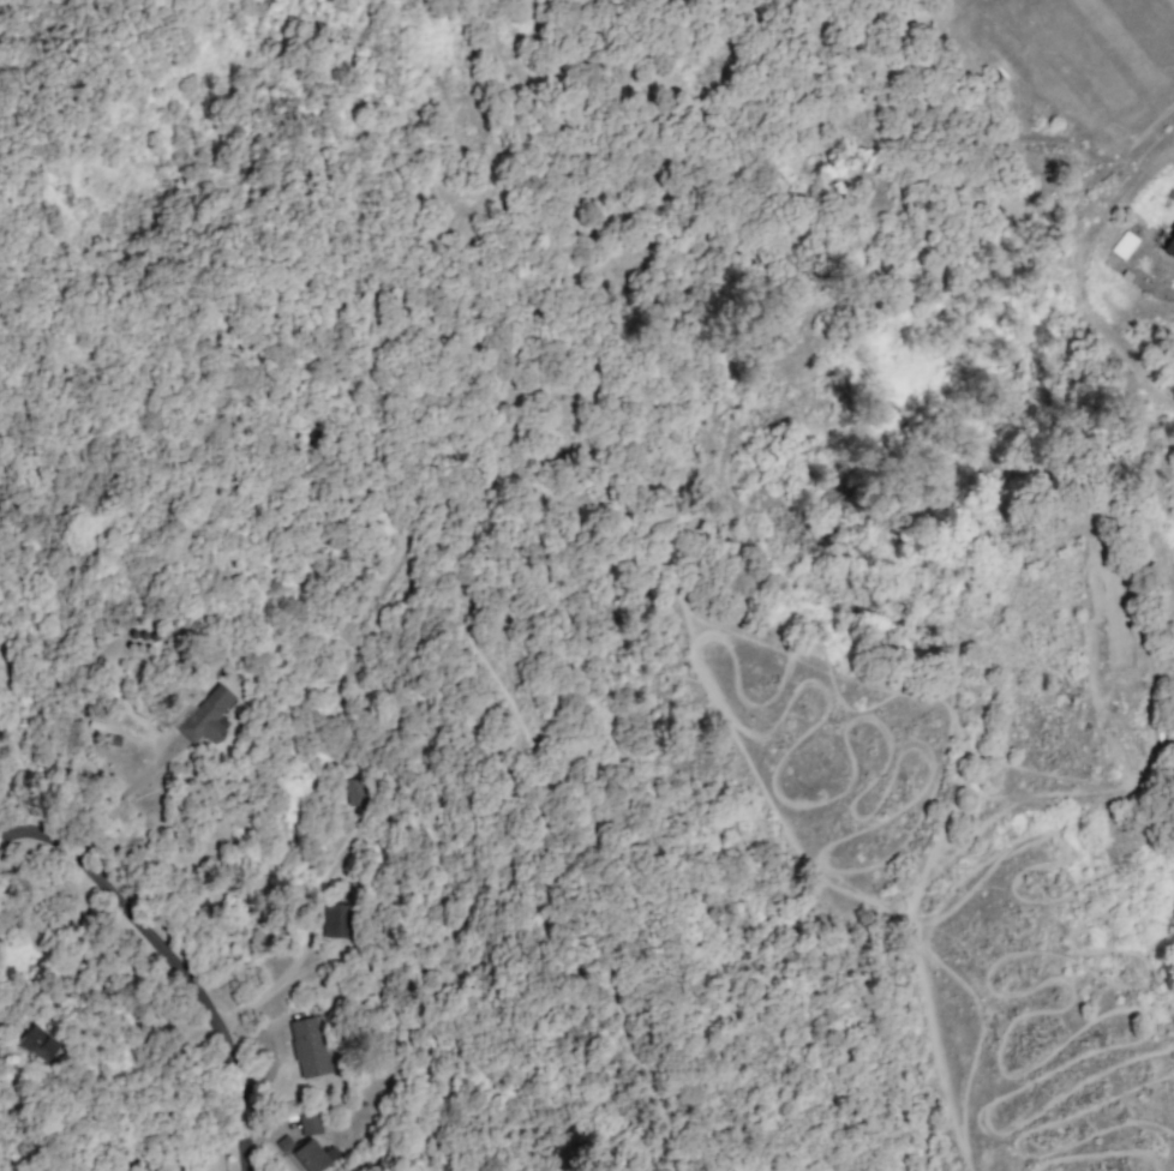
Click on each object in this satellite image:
building: (1169, 244)
building: (1124, 245)
building: (206, 716)
building: (355, 793)
road: (42, 831)
road: (7, 834)
building: (335, 920)
road: (204, 993)
building: (37, 1043)
building: (309, 1047)
building: (309, 1122)
building: (312, 1155)

